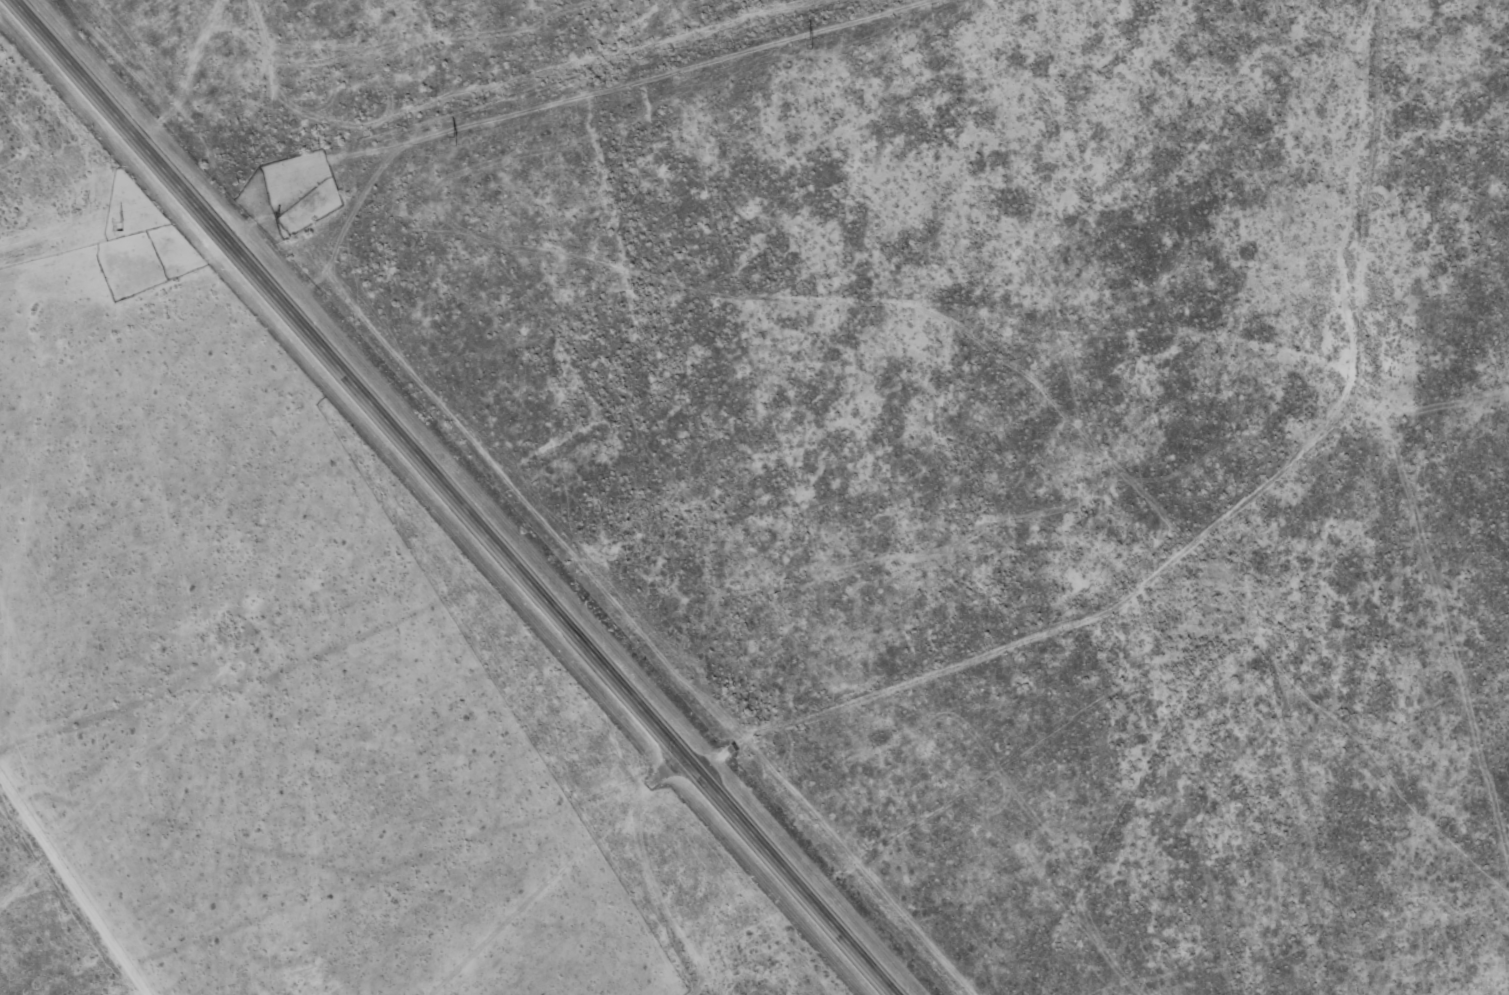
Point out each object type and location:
power tower: (812, 46)
power tower: (455, 142)
power tower: (121, 227)
road: (451, 497)

